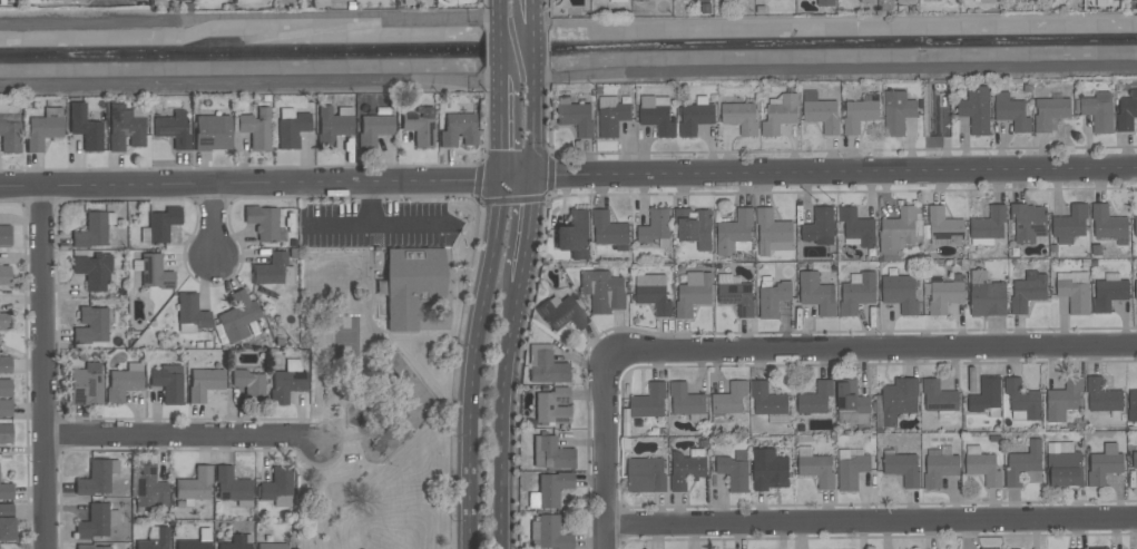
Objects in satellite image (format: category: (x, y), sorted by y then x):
building: (78, 0)
building: (178, 0)
building: (618, 1)
building: (641, 1)
building: (866, 1)
building: (905, 1)
building: (825, 3)
road: (533, 11)
road: (568, 28)
road: (503, 38)
road: (535, 47)
building: (938, 85)
building: (976, 108)
building: (1098, 110)
building: (896, 112)
building: (1011, 112)
building: (1049, 112)
building: (1127, 112)
building: (821, 114)
building: (780, 115)
building: (859, 116)
building: (938, 116)
building: (739, 117)
building: (576, 119)
building: (612, 119)
building: (695, 119)
building: (658, 120)
road: (535, 125)
building: (332, 126)
building: (420, 126)
road: (504, 127)
building: (86, 128)
building: (124, 128)
building: (256, 128)
building: (373, 128)
building: (173, 130)
building: (292, 130)
building: (458, 130)
building: (41, 131)
building: (210, 133)
building: (10, 137)
road: (568, 177)
road: (369, 203)
road: (218, 222)
building: (1028, 222)
building: (1071, 222)
building: (263, 223)
building: (1107, 223)
building: (161, 224)
road: (379, 224)
building: (693, 224)
building: (989, 225)
building: (655, 226)
building: (1135, 226)
building: (820, 227)
building: (857, 227)
building: (944, 228)
building: (608, 229)
building: (898, 229)
building: (91, 232)
road: (527, 232)
building: (734, 232)
building: (772, 233)
building: (4, 235)
building: (574, 235)
building: (269, 269)
building: (92, 272)
building: (156, 273)
building: (4, 275)
building: (411, 285)
building: (1136, 291)
building: (602, 292)
building: (1028, 292)
building: (900, 293)
building: (816, 294)
building: (857, 294)
building: (1108, 294)
building: (1074, 295)
building: (693, 296)
building: (944, 296)
building: (737, 297)
building: (773, 298)
building: (655, 300)
building: (988, 300)
building: (192, 312)
building: (562, 314)
building: (237, 315)
building: (4, 322)
building: (90, 325)
road: (873, 349)
road: (474, 362)
building: (6, 364)
park: (381, 365)
road: (43, 369)
building: (547, 369)
building: (168, 383)
building: (204, 383)
building: (121, 384)
building: (286, 384)
building: (249, 385)
building: (6, 388)
building: (85, 388)
road: (430, 390)
road: (384, 393)
building: (987, 395)
building: (939, 396)
building: (1102, 396)
building: (816, 398)
building: (851, 398)
building: (729, 399)
building: (1023, 399)
building: (685, 400)
building: (767, 400)
building: (899, 400)
building: (1064, 400)
road: (353, 401)
building: (649, 402)
building: (552, 405)
building: (1133, 406)
building: (6, 408)
road: (503, 415)
building: (6, 433)
road: (180, 439)
building: (553, 453)
road: (605, 454)
building: (1135, 460)
building: (1025, 465)
building: (902, 468)
building: (1104, 468)
building: (983, 469)
building: (685, 470)
building: (768, 470)
building: (816, 470)
building: (939, 470)
building: (1064, 470)
building: (852, 471)
building: (734, 473)
building: (646, 476)
building: (94, 479)
building: (276, 483)
building: (231, 484)
building: (194, 486)
building: (149, 488)
building: (552, 488)
building: (6, 491)
road: (349, 498)
road: (871, 519)
building: (94, 522)
building: (7, 523)
building: (551, 533)
building: (156, 539)
building: (236, 542)
building: (193, 545)
building: (272, 546)
building: (89, 547)
building: (1099, 548)

